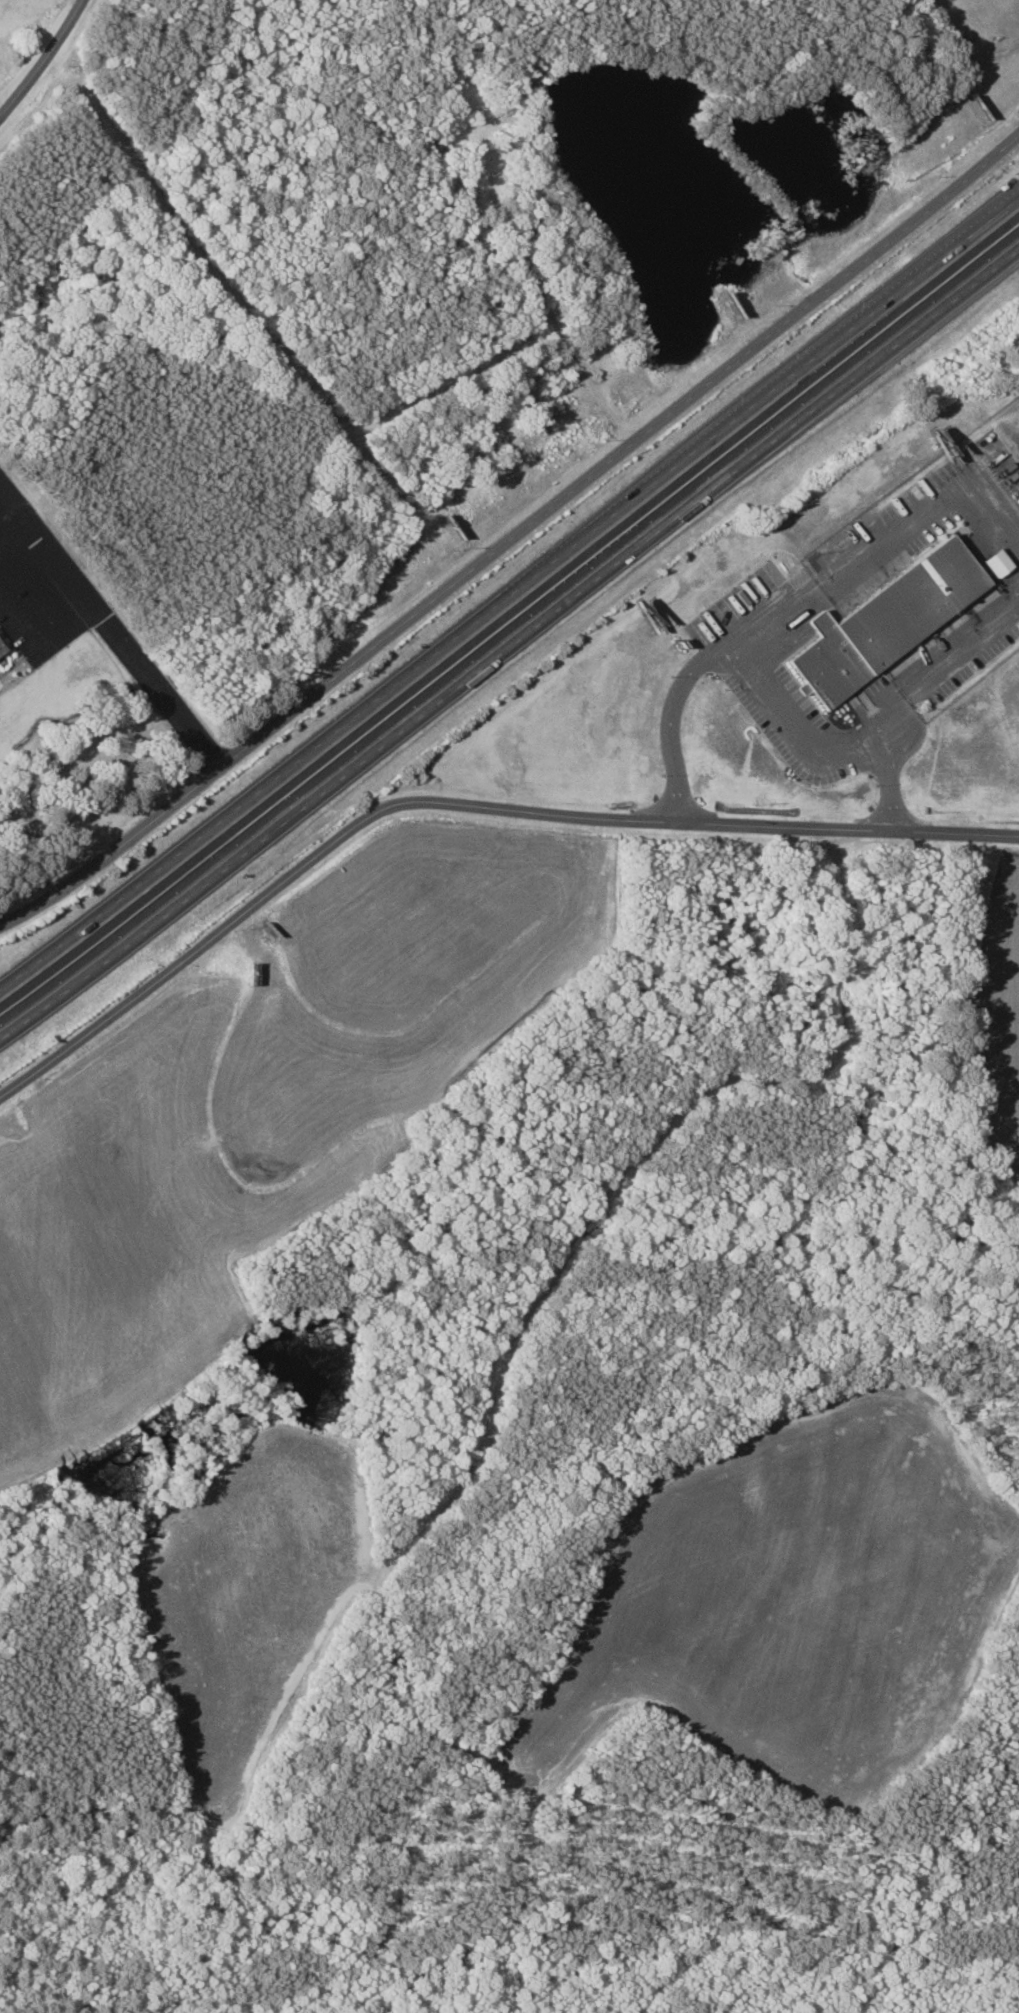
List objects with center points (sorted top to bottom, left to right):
road: (46, 63)
road: (967, 498)
road: (513, 541)
building: (993, 563)
road: (820, 587)
road: (511, 601)
building: (884, 620)
road: (115, 644)
road: (509, 646)
building: (4, 649)
road: (944, 667)
road: (673, 714)
road: (797, 725)
road: (891, 786)
road: (888, 829)
road: (344, 846)

